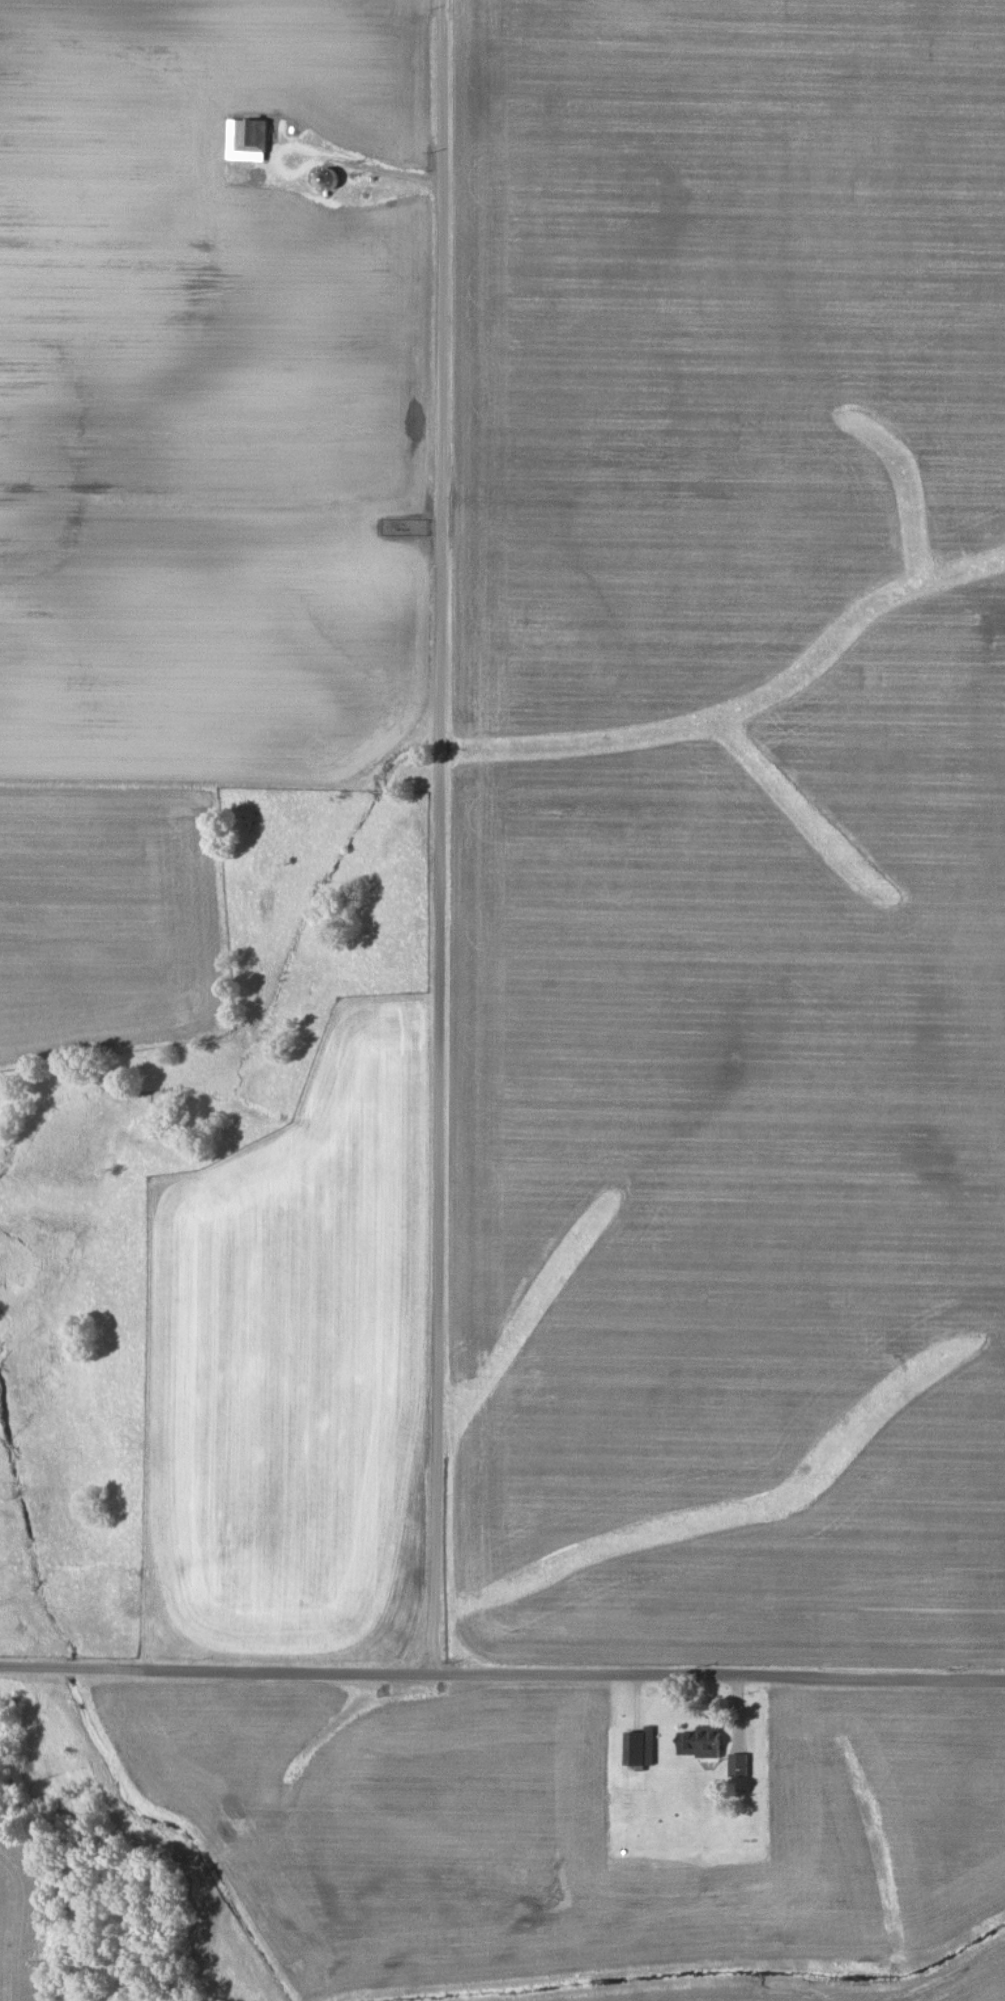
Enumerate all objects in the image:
road: (364, 176)
road: (439, 837)
road: (502, 1674)
building: (698, 1745)
building: (737, 1764)

